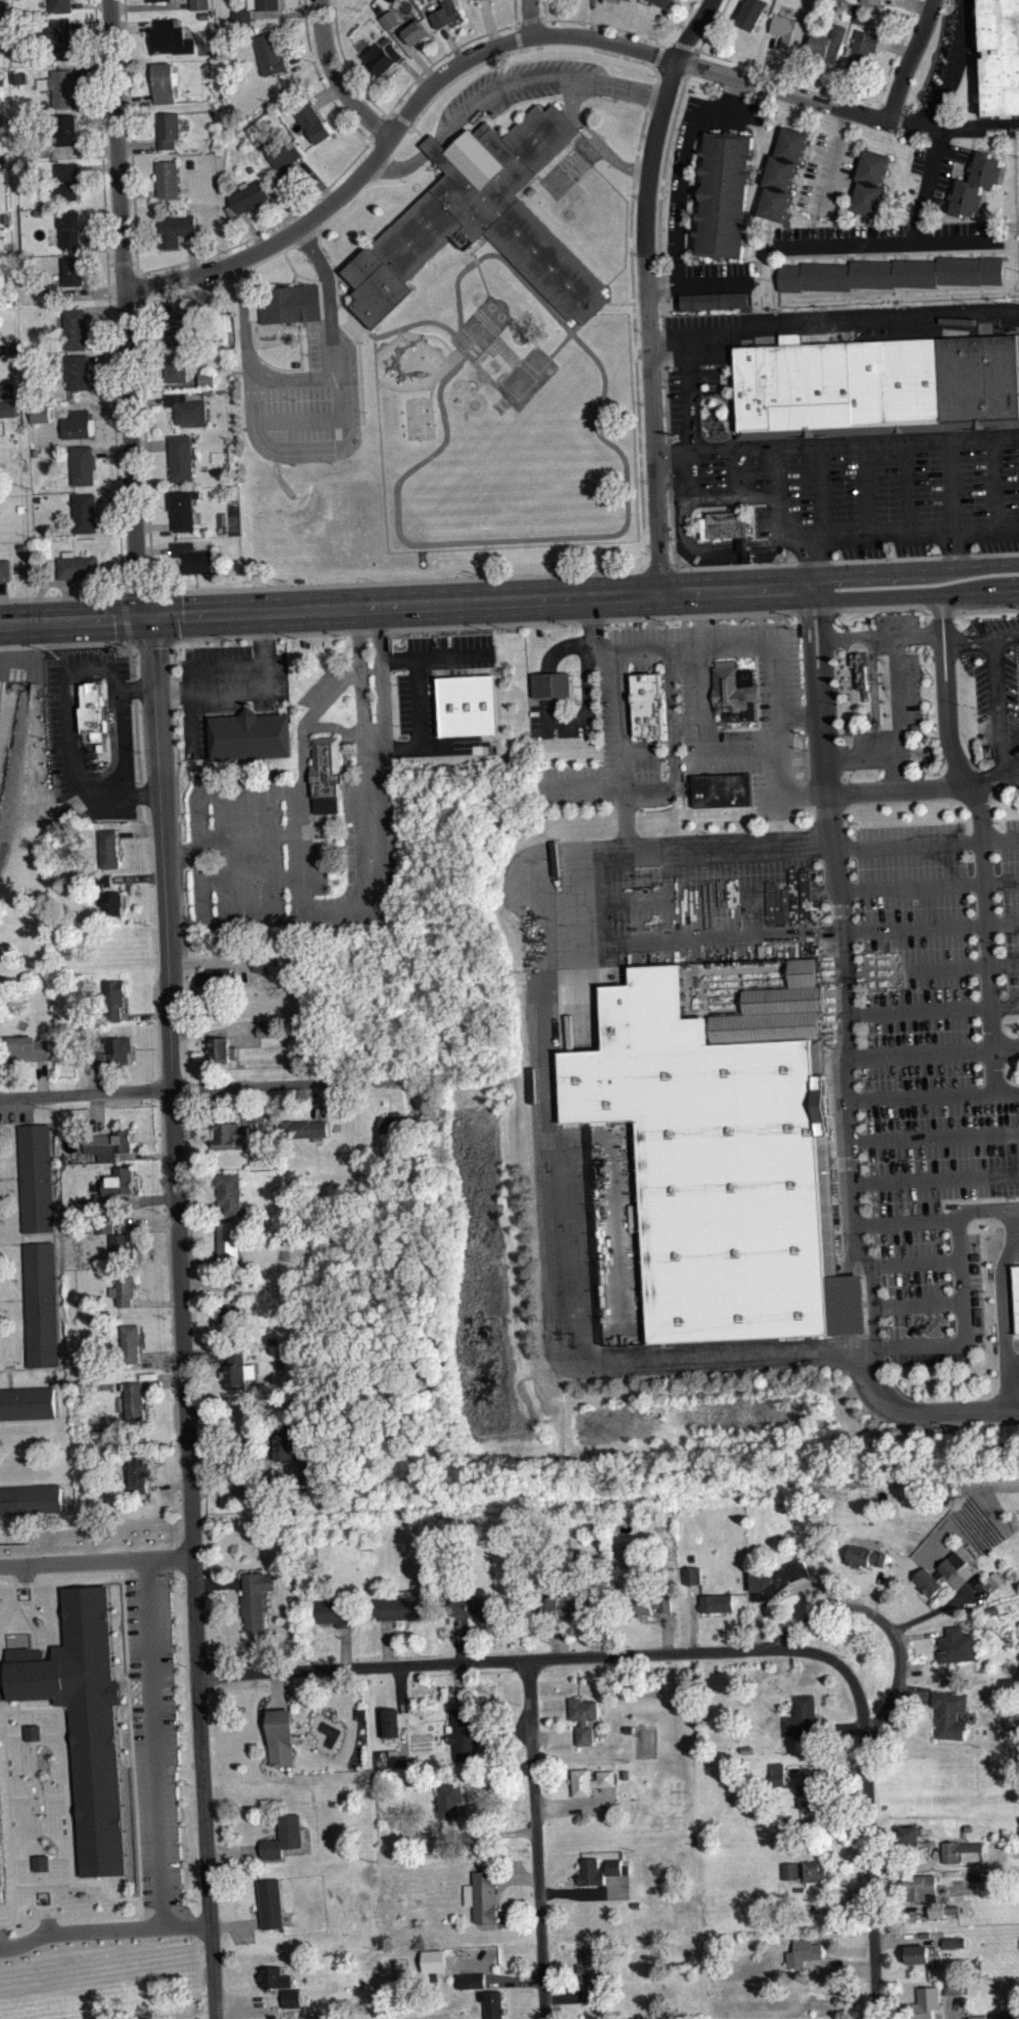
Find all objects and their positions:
building: (571, 0)
building: (875, 0)
building: (486, 2)
building: (621, 2)
building: (662, 2)
building: (159, 3)
road: (920, 3)
road: (91, 4)
road: (150, 4)
building: (199, 4)
building: (268, 4)
building: (60, 5)
road: (544, 9)
road: (286, 11)
road: (514, 11)
building: (448, 12)
building: (751, 12)
building: (243, 15)
road: (530, 17)
road: (531, 17)
building: (390, 18)
road: (594, 18)
road: (680, 20)
road: (91, 23)
road: (133, 23)
building: (244, 24)
road: (606, 24)
building: (391, 26)
building: (416, 30)
building: (789, 30)
building: (171, 36)
road: (517, 36)
building: (59, 37)
building: (417, 39)
road: (669, 41)
road: (452, 42)
road: (662, 42)
building: (828, 42)
road: (495, 43)
road: (681, 43)
road: (896, 45)
road: (694, 47)
building: (862, 47)
building: (271, 52)
road: (415, 52)
road: (658, 53)
road: (306, 55)
building: (383, 55)
building: (1001, 55)
road: (442, 56)
road: (893, 56)
road: (767, 57)
road: (909, 59)
road: (346, 63)
road: (653, 64)
road: (954, 65)
road: (92, 70)
road: (413, 71)
road: (337, 76)
road: (320, 77)
road: (543, 77)
road: (794, 77)
road: (825, 79)
building: (163, 81)
building: (62, 85)
road: (327, 90)
road: (134, 98)
road: (401, 116)
building: (311, 117)
road: (376, 123)
road: (1010, 123)
road: (972, 127)
building: (66, 128)
building: (168, 128)
road: (671, 129)
road: (130, 136)
road: (592, 138)
road: (138, 144)
road: (434, 144)
road: (395, 147)
road: (971, 148)
road: (807, 149)
road: (85, 150)
building: (284, 157)
road: (831, 160)
parking lot: (937, 160)
road: (858, 161)
road: (99, 166)
road: (402, 166)
building: (782, 172)
parking lot: (827, 174)
building: (167, 177)
road: (316, 177)
building: (68, 179)
road: (797, 179)
road: (950, 180)
building: (870, 182)
road: (928, 182)
building: (978, 182)
road: (632, 185)
road: (138, 191)
road: (851, 191)
road: (939, 191)
building: (724, 194)
building: (250, 195)
road: (679, 197)
parking lot: (678, 198)
road: (792, 210)
building: (483, 218)
building: (70, 226)
building: (175, 227)
road: (267, 227)
road: (813, 227)
road: (252, 229)
parking lot: (885, 236)
road: (954, 238)
road: (101, 241)
road: (844, 241)
road: (475, 251)
road: (876, 252)
road: (992, 252)
road: (191, 253)
road: (949, 253)
road: (970, 253)
road: (927, 254)
road: (862, 255)
road: (906, 255)
road: (884, 256)
road: (812, 258)
road: (835, 258)
road: (846, 258)
road: (791, 259)
road: (122, 261)
road: (291, 266)
road: (463, 268)
building: (73, 269)
building: (891, 273)
road: (143, 285)
road: (320, 287)
building: (51, 288)
road: (91, 289)
road: (336, 289)
road: (646, 290)
road: (771, 290)
road: (168, 295)
building: (710, 300)
building: (290, 302)
road: (626, 302)
road: (125, 307)
building: (715, 307)
road: (105, 310)
road: (355, 314)
road: (832, 321)
building: (182, 324)
building: (76, 327)
road: (663, 354)
road: (111, 355)
road: (108, 356)
road: (465, 356)
building: (177, 365)
building: (78, 370)
road: (361, 371)
building: (207, 378)
road: (294, 379)
road: (164, 384)
building: (877, 385)
building: (208, 386)
building: (7, 390)
parking lot: (308, 396)
road: (148, 399)
road: (728, 404)
road: (90, 405)
building: (187, 406)
building: (7, 408)
building: (41, 412)
road: (303, 418)
building: (41, 420)
building: (77, 423)
road: (638, 435)
road: (150, 443)
road: (836, 444)
road: (112, 449)
road: (327, 454)
building: (181, 456)
building: (83, 463)
road: (777, 469)
road: (734, 471)
road: (993, 482)
road: (952, 484)
road: (907, 486)
road: (865, 488)
road: (823, 490)
road: (115, 496)
parking lot: (887, 499)
road: (671, 502)
building: (183, 508)
road: (779, 509)
building: (85, 511)
road: (154, 524)
building: (719, 525)
road: (602, 532)
road: (953, 547)
road: (154, 548)
building: (193, 556)
road: (846, 560)
road: (818, 562)
building: (78, 565)
road: (657, 567)
building: (5, 568)
road: (917, 568)
road: (52, 580)
road: (64, 580)
road: (138, 584)
road: (251, 586)
road: (918, 593)
road: (2, 601)
road: (409, 603)
road: (599, 618)
parking lot: (997, 626)
parking lot: (898, 629)
road: (821, 633)
road: (807, 634)
road: (880, 636)
road: (126, 640)
road: (971, 641)
road: (66, 643)
road: (693, 644)
road: (938, 644)
road: (949, 644)
road: (561, 647)
building: (861, 666)
road: (189, 667)
road: (133, 670)
road: (380, 672)
road: (359, 674)
building: (551, 683)
road: (543, 684)
parking lot: (227, 685)
road: (250, 690)
parking lot: (997, 690)
building: (734, 691)
parking lot: (905, 691)
road: (999, 695)
road: (874, 697)
road: (853, 698)
road: (701, 699)
building: (648, 703)
building: (468, 704)
road: (588, 704)
building: (93, 708)
road: (899, 711)
parking lot: (61, 713)
road: (775, 716)
road: (799, 717)
road: (619, 719)
parking lot: (692, 721)
road: (66, 722)
building: (249, 734)
road: (670, 737)
road: (123, 740)
road: (675, 744)
road: (138, 751)
road: (740, 752)
road: (862, 758)
road: (1016, 765)
road: (91, 774)
building: (325, 774)
parking lot: (1015, 781)
road: (303, 782)
road: (587, 785)
building: (722, 789)
road: (897, 789)
road: (222, 790)
road: (177, 800)
road: (143, 810)
road: (140, 832)
road: (254, 832)
parking lot: (240, 842)
road: (926, 844)
building: (109, 848)
road: (139, 876)
road: (256, 876)
road: (986, 890)
road: (780, 891)
building: (109, 896)
road: (330, 917)
road: (781, 933)
road: (210, 961)
building: (263, 962)
road: (933, 967)
building: (220, 977)
building: (217, 986)
building: (113, 998)
road: (935, 1009)
road: (144, 1014)
parking lot: (878, 1018)
building: (27, 1048)
building: (219, 1049)
road: (934, 1050)
building: (113, 1051)
road: (41, 1077)
road: (203, 1087)
road: (934, 1094)
road: (849, 1107)
road: (548, 1110)
parking lot: (15, 1112)
road: (96, 1112)
road: (22, 1123)
building: (401, 1123)
road: (8, 1124)
building: (303, 1127)
building: (227, 1131)
building: (305, 1136)
road: (935, 1136)
building: (108, 1143)
building: (232, 1143)
building: (717, 1167)
road: (9, 1177)
building: (35, 1177)
road: (936, 1177)
building: (115, 1186)
building: (229, 1191)
road: (906, 1220)
building: (106, 1232)
road: (1015, 1236)
building: (228, 1240)
road: (11, 1243)
building: (121, 1246)
road: (852, 1256)
road: (914, 1263)
building: (125, 1288)
road: (960, 1289)
building: (1016, 1295)
road: (12, 1299)
road: (916, 1302)
building: (41, 1303)
road: (850, 1303)
road: (1002, 1306)
road: (182, 1317)
building: (230, 1319)
building: (131, 1342)
road: (856, 1355)
road: (1012, 1361)
road: (13, 1368)
building: (237, 1368)
road: (10, 1378)
building: (131, 1399)
building: (26, 1401)
road: (53, 1418)
building: (284, 1443)
building: (136, 1472)
building: (310, 1472)
road: (35, 1483)
building: (29, 1498)
building: (865, 1556)
road: (96, 1564)
building: (938, 1573)
building: (691, 1575)
road: (25, 1576)
building: (775, 1578)
road: (134, 1579)
road: (7, 1585)
building: (255, 1599)
building: (716, 1602)
building: (648, 1603)
building: (475, 1607)
building: (560, 1607)
building: (403, 1608)
building: (335, 1611)
road: (880, 1618)
road: (7, 1620)
road: (4, 1635)
building: (956, 1645)
road: (47, 1647)
road: (126, 1650)
road: (523, 1657)
road: (4, 1660)
road: (125, 1693)
road: (17, 1705)
building: (949, 1713)
road: (31, 1717)
building: (582, 1717)
building: (801, 1717)
building: (82, 1718)
building: (388, 1722)
building: (32, 1731)
road: (60, 1732)
road: (2, 1734)
building: (463, 1735)
road: (15, 1736)
building: (281, 1736)
parking lot: (154, 1738)
building: (33, 1739)
road: (155, 1744)
building: (398, 1760)
road: (33, 1761)
building: (401, 1768)
building: (777, 1773)
road: (63, 1776)
building: (590, 1780)
road: (7, 1792)
building: (813, 1796)
road: (19, 1798)
building: (449, 1799)
building: (811, 1811)
road: (38, 1833)
building: (910, 1835)
building: (284, 1837)
road: (537, 1838)
building: (432, 1840)
road: (869, 1840)
building: (961, 1851)
road: (57, 1858)
road: (22, 1860)
building: (39, 1862)
road: (68, 1868)
building: (40, 1870)
building: (597, 1870)
building: (804, 1870)
building: (614, 1874)
road: (40, 1877)
building: (794, 1878)
road: (90, 1882)
building: (1, 1883)
building: (919, 1886)
road: (35, 1895)
building: (483, 1895)
road: (127, 1898)
building: (271, 1903)
building: (938, 1909)
road: (141, 1923)
road: (104, 1929)
parking lot: (2, 1933)
building: (953, 1942)
building: (804, 1952)
building: (918, 1954)
building: (593, 1974)
building: (275, 1977)
building: (953, 1987)
building: (472, 1988)
building: (954, 1994)
building: (488, 1997)
building: (292, 1998)
building: (924, 2003)
building: (977, 2017)

